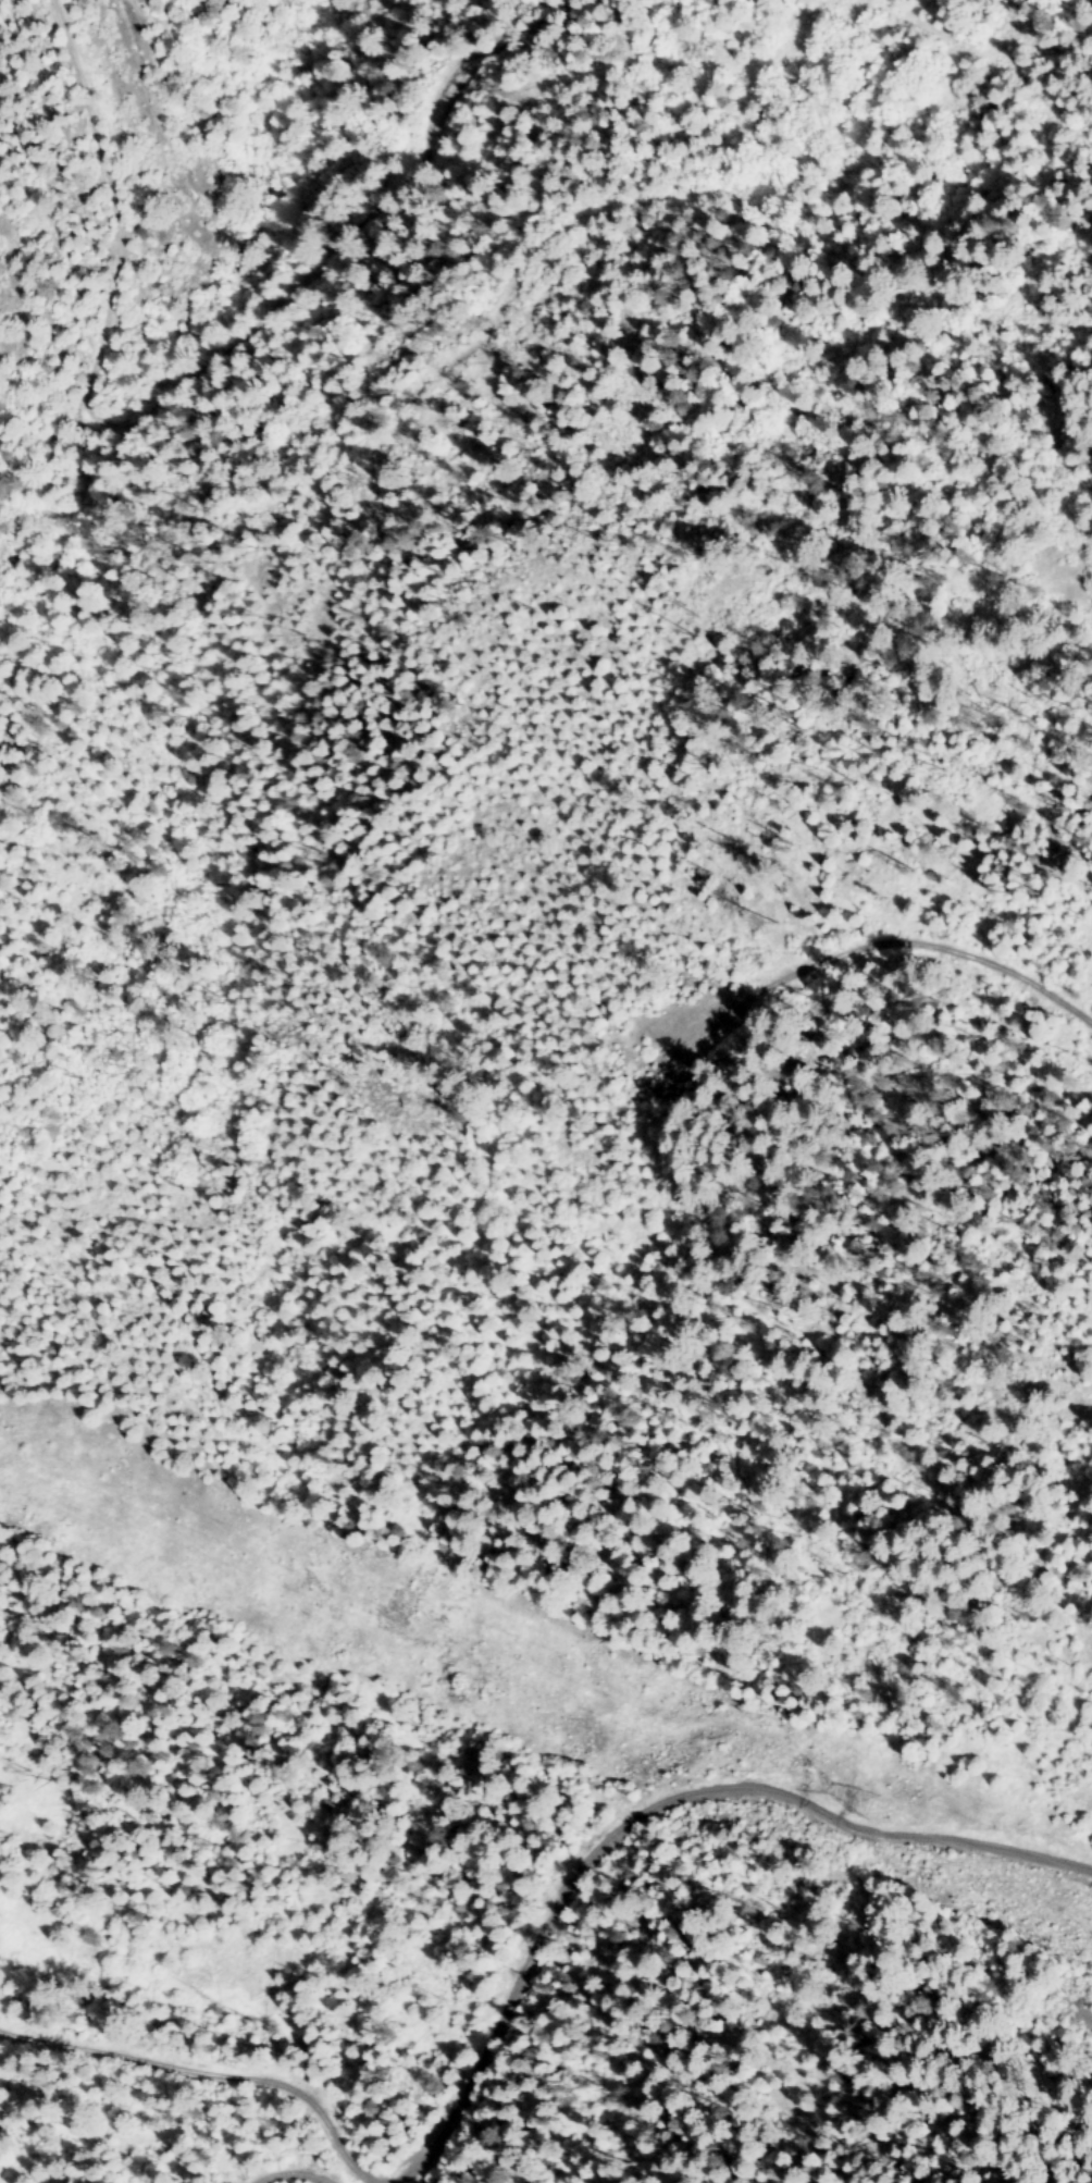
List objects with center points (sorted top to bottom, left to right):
power tower: (868, 1802)
road: (688, 1897)
road: (198, 2052)

